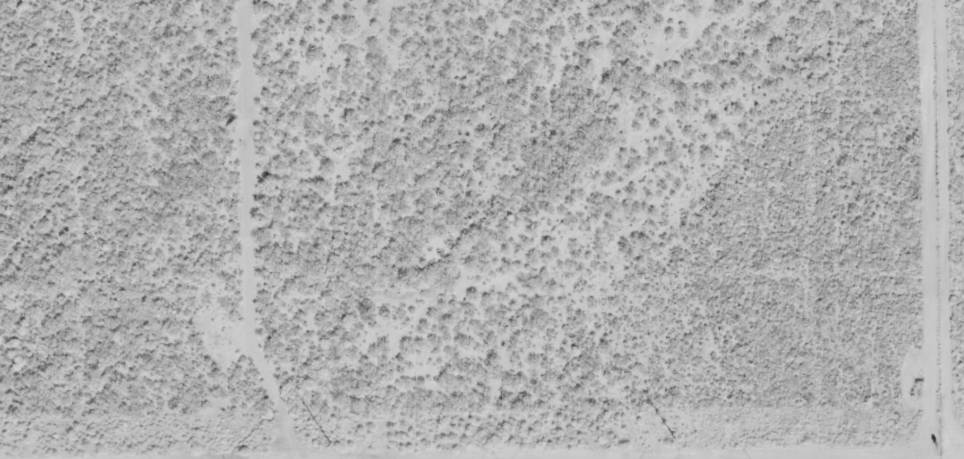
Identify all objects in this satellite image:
power tower: (676, 438)
power tower: (331, 444)

